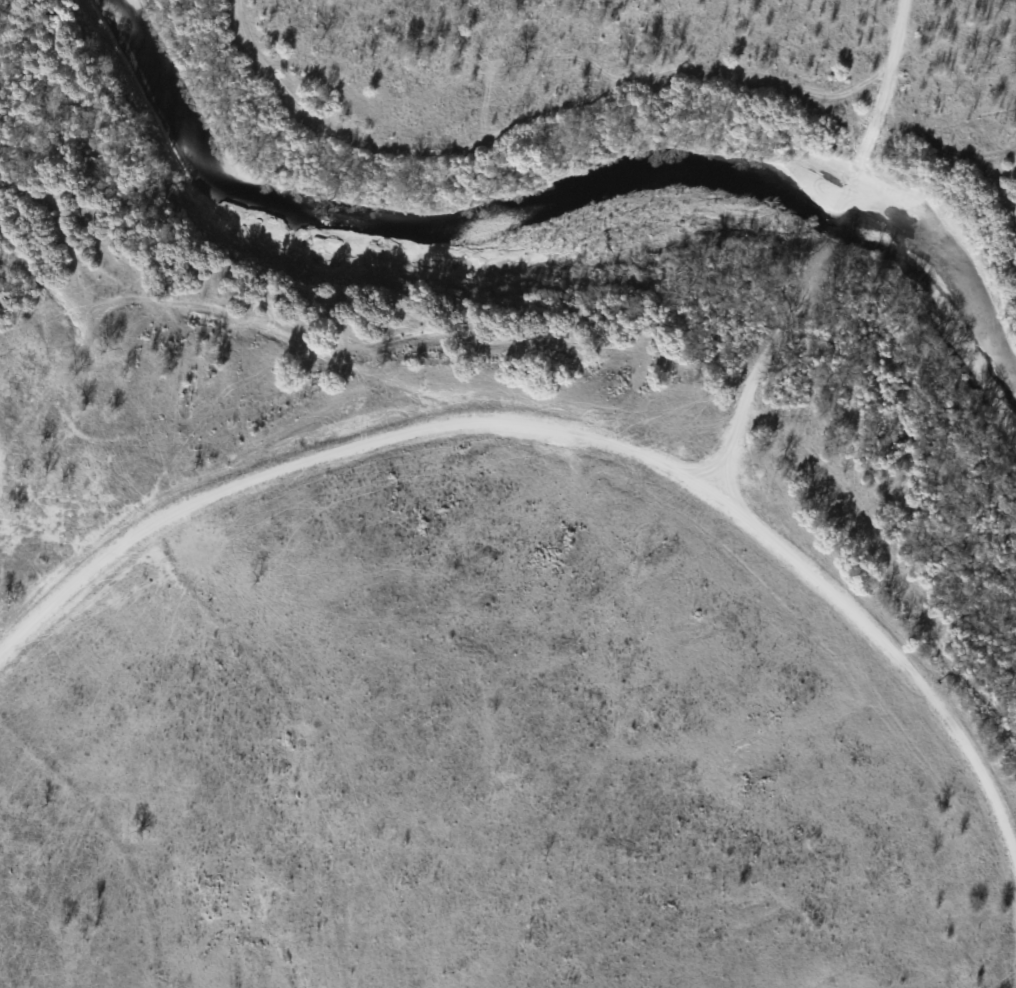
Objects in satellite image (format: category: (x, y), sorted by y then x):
river: (556, 195)
road: (813, 244)
road: (585, 429)

